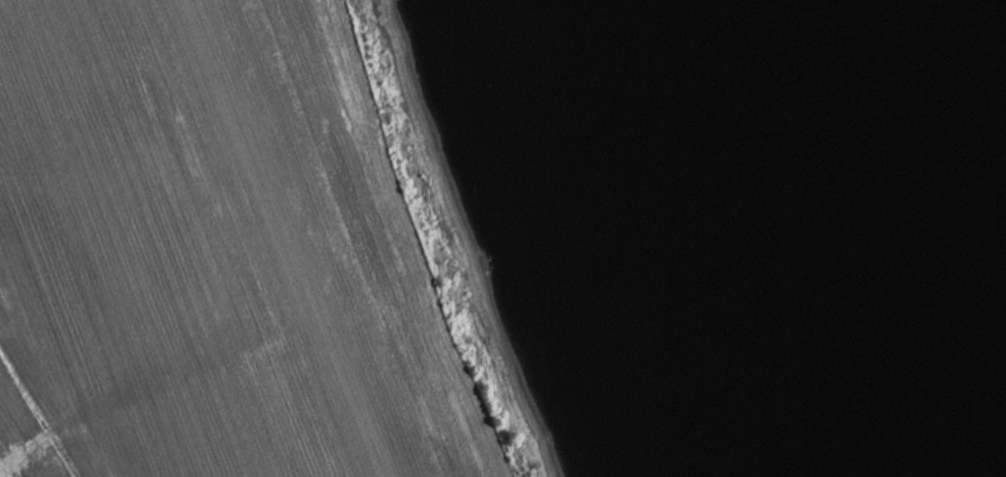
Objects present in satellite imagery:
crop: (238, 251)

